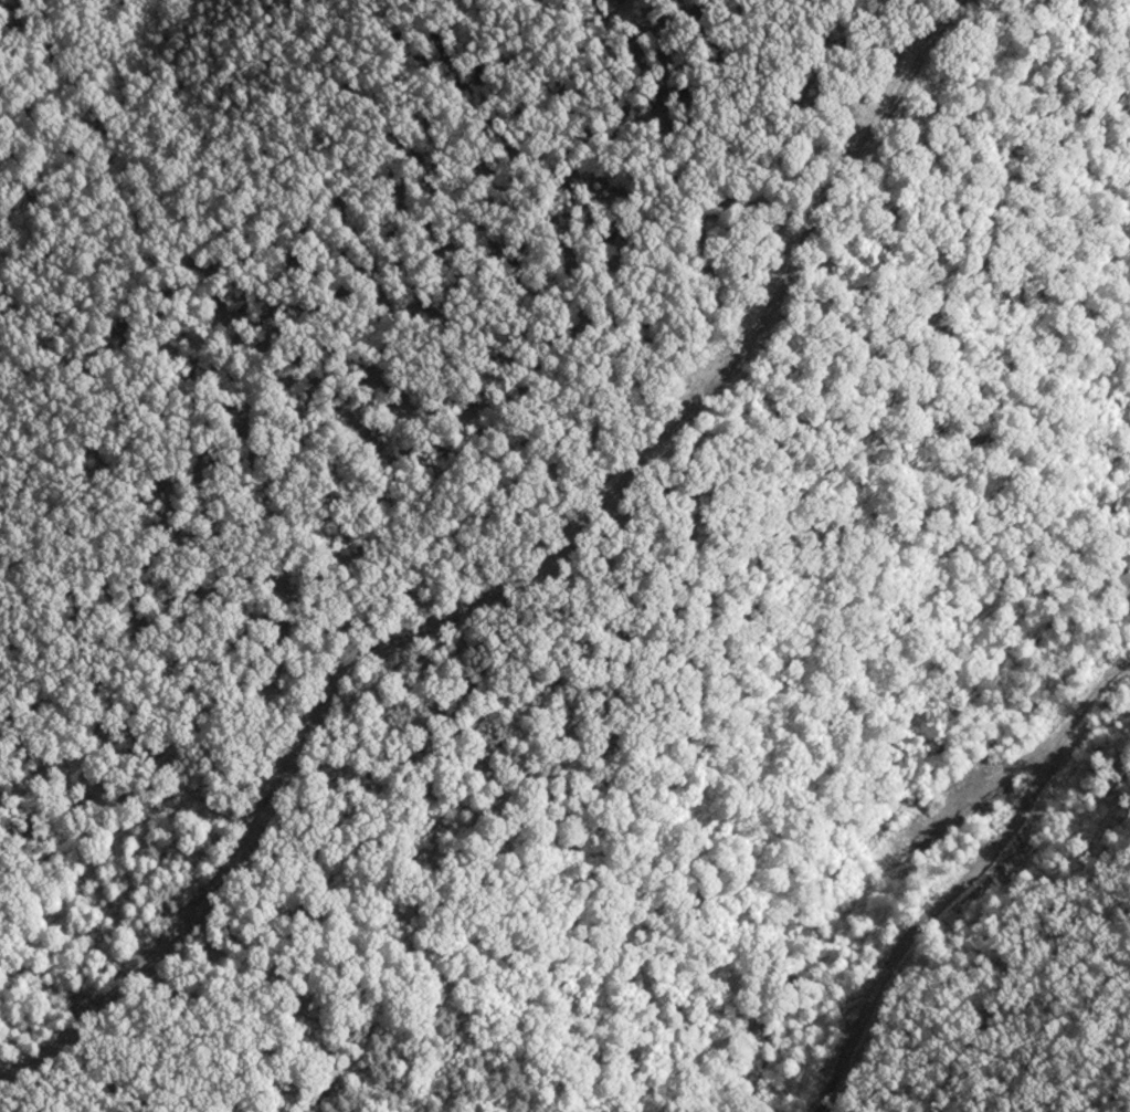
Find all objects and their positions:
road: (982, 898)

